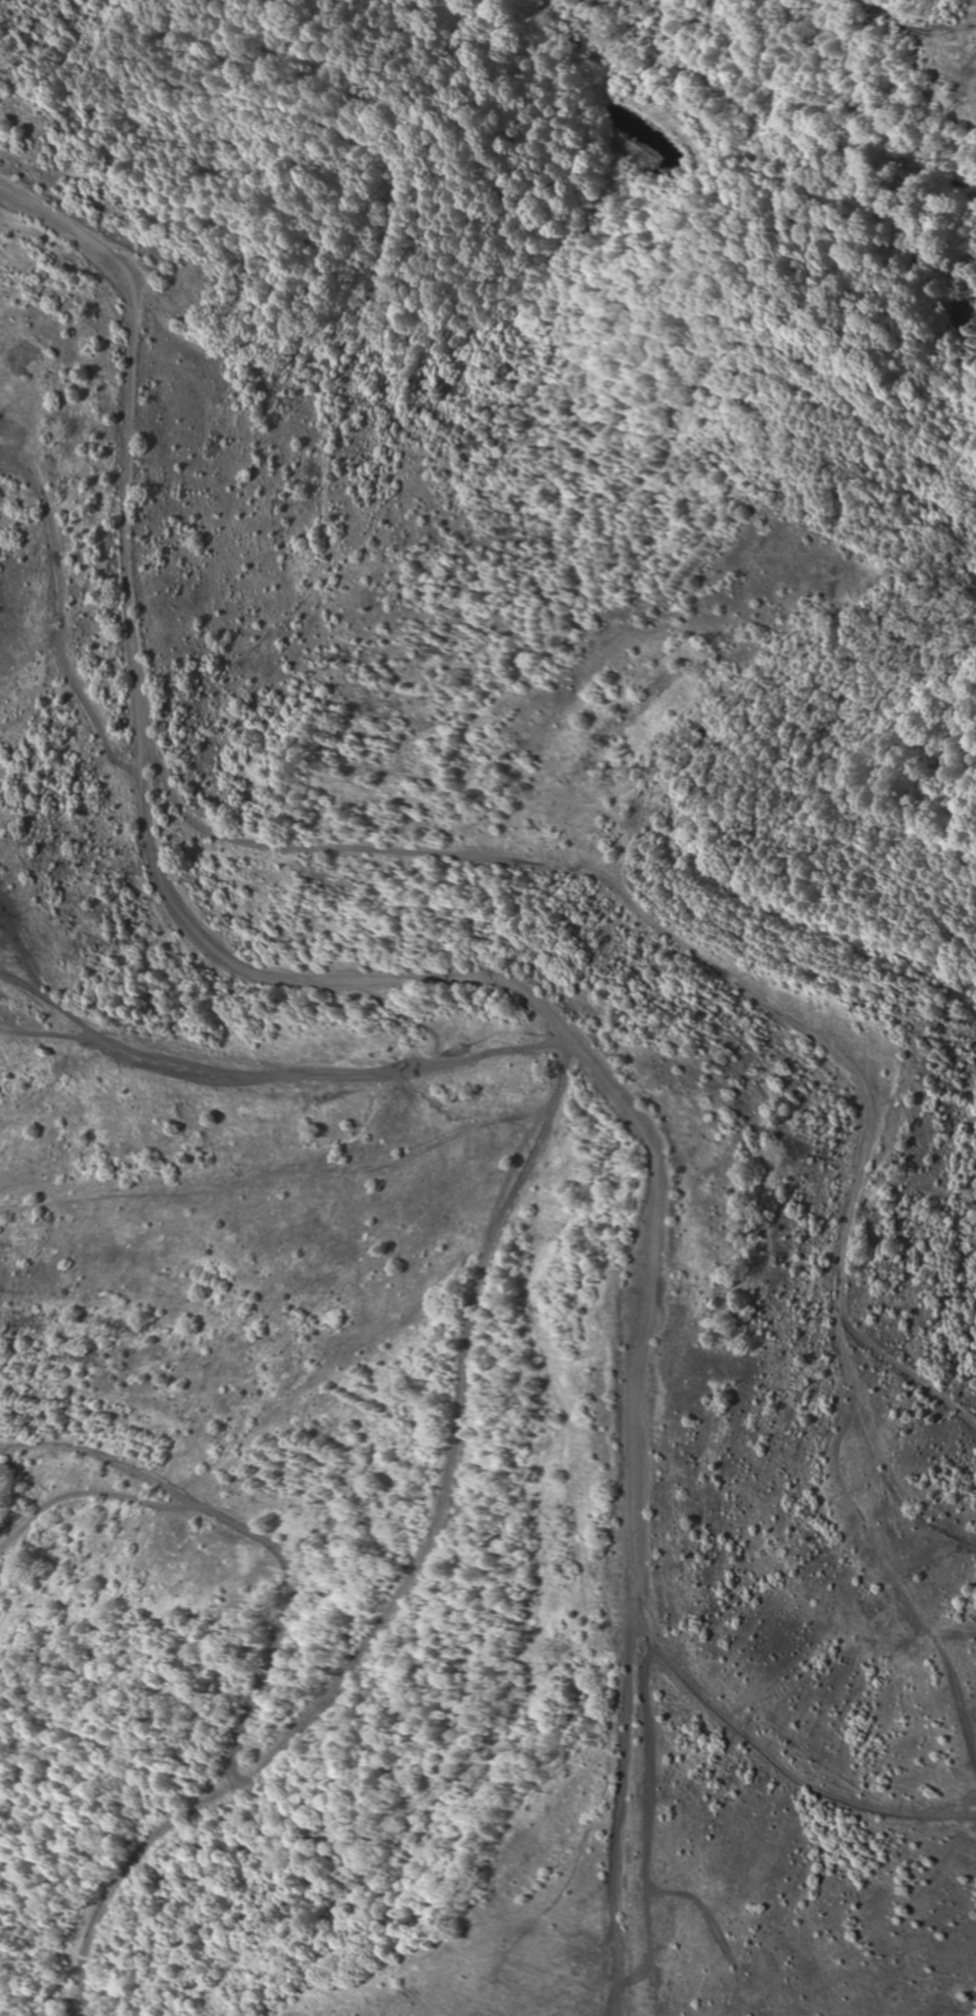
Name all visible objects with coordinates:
road: (282, 971)
road: (98, 1490)
road: (348, 1682)

